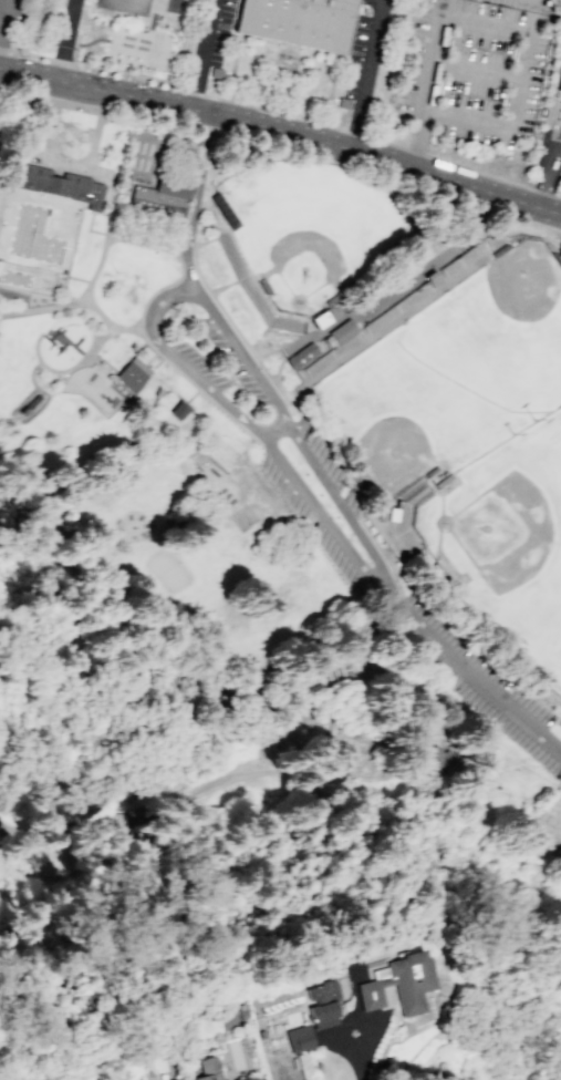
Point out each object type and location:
parking lot: (507, 3)
park: (125, 6)
parking lot: (15, 21)
road: (106, 22)
building: (300, 22)
road: (4, 24)
road: (505, 28)
road: (63, 41)
road: (204, 56)
road: (476, 70)
parking lot: (474, 71)
road: (370, 76)
road: (49, 81)
building: (559, 84)
road: (22, 85)
parking lot: (6, 86)
road: (125, 111)
road: (282, 115)
parking lot: (146, 116)
road: (559, 138)
road: (94, 141)
road: (331, 146)
road: (18, 152)
road: (54, 162)
road: (386, 173)
road: (549, 176)
building: (59, 184)
building: (163, 197)
road: (194, 204)
park: (315, 230)
road: (106, 232)
road: (205, 244)
road: (163, 251)
road: (443, 276)
building: (434, 280)
road: (237, 284)
road: (395, 288)
road: (262, 297)
road: (165, 298)
road: (75, 300)
building: (322, 320)
road: (145, 327)
road: (365, 328)
road: (389, 332)
building: (340, 333)
road: (269, 351)
building: (302, 356)
road: (162, 358)
parking lot: (235, 362)
parking lot: (204, 367)
road: (65, 371)
park: (455, 372)
building: (132, 380)
road: (42, 412)
building: (181, 412)
road: (274, 430)
building: (211, 466)
road: (353, 484)
parking lot: (318, 498)
road: (339, 501)
road: (322, 514)
building: (393, 516)
park: (507, 547)
park: (252, 564)
park: (181, 575)
road: (162, 609)
road: (347, 636)
road: (467, 671)
road: (532, 675)
parking lot: (481, 683)
road: (399, 695)
road: (322, 703)
road: (77, 730)
road: (559, 744)
building: (435, 759)
road: (318, 761)
road: (137, 813)
road: (8, 819)
park: (507, 975)
building: (397, 983)
building: (321, 1004)
road: (351, 1020)
building: (298, 1038)
building: (208, 1069)
road: (357, 1069)
building: (177, 1079)
building: (252, 1079)

